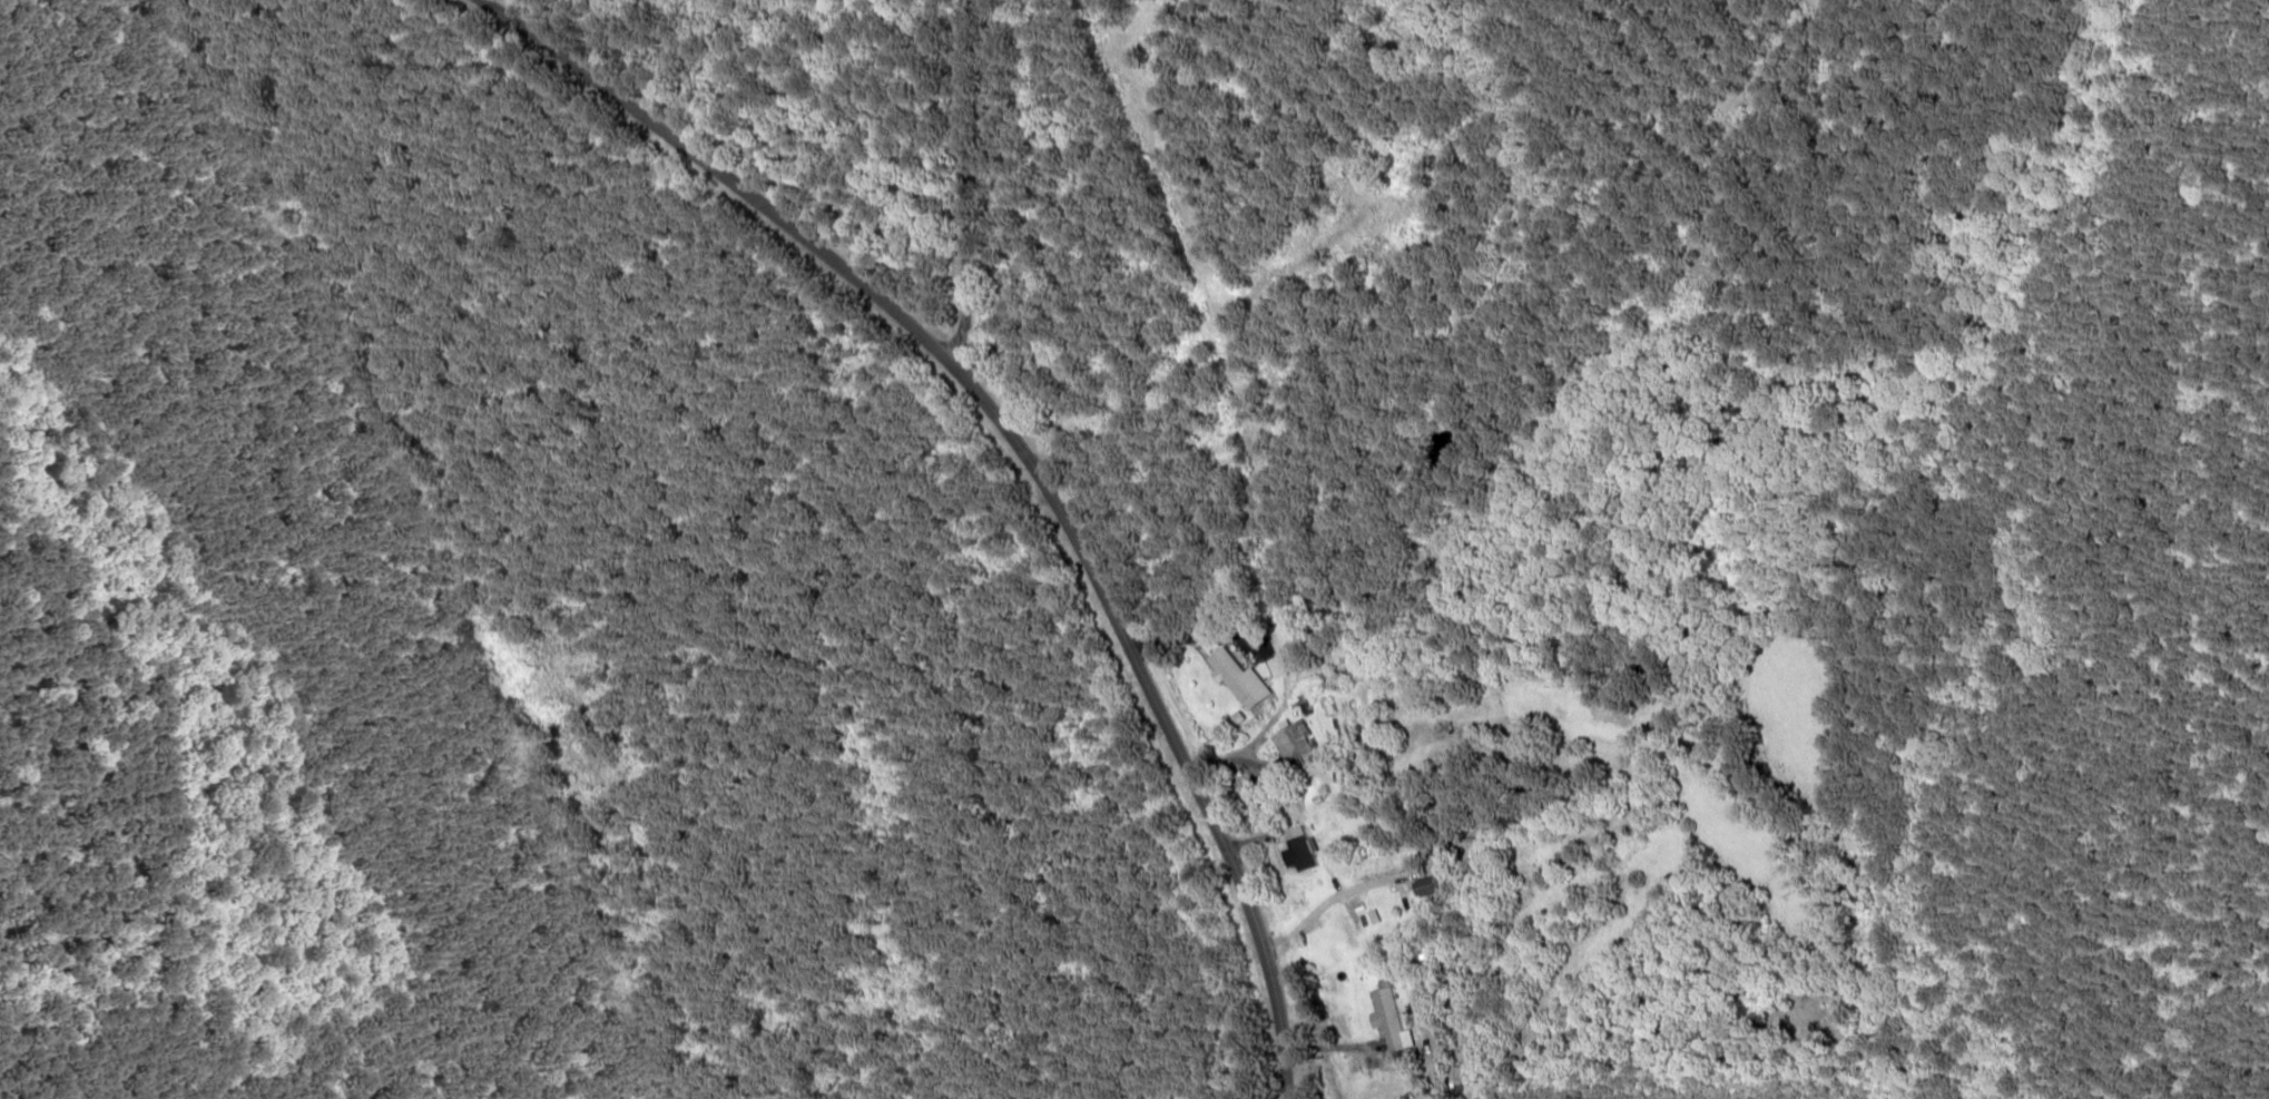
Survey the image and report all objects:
road: (965, 185)
road: (1023, 455)
building: (1283, 649)
building: (1241, 680)
building: (1295, 742)
building: (1300, 845)
building: (1426, 885)
building: (1389, 1020)

